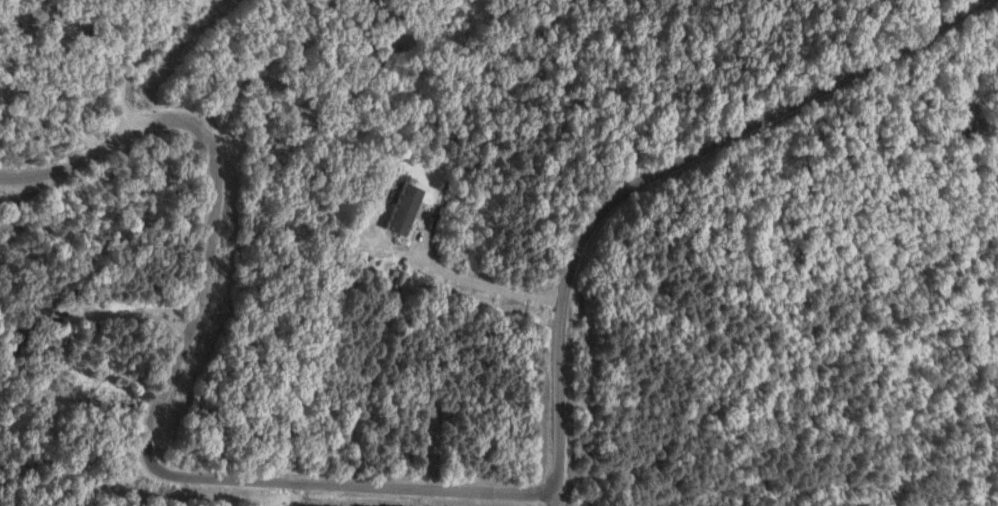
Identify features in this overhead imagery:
road: (141, 56)
road: (157, 116)
road: (649, 171)
building: (405, 210)
road: (384, 243)
road: (116, 312)
road: (234, 478)
road: (175, 490)

